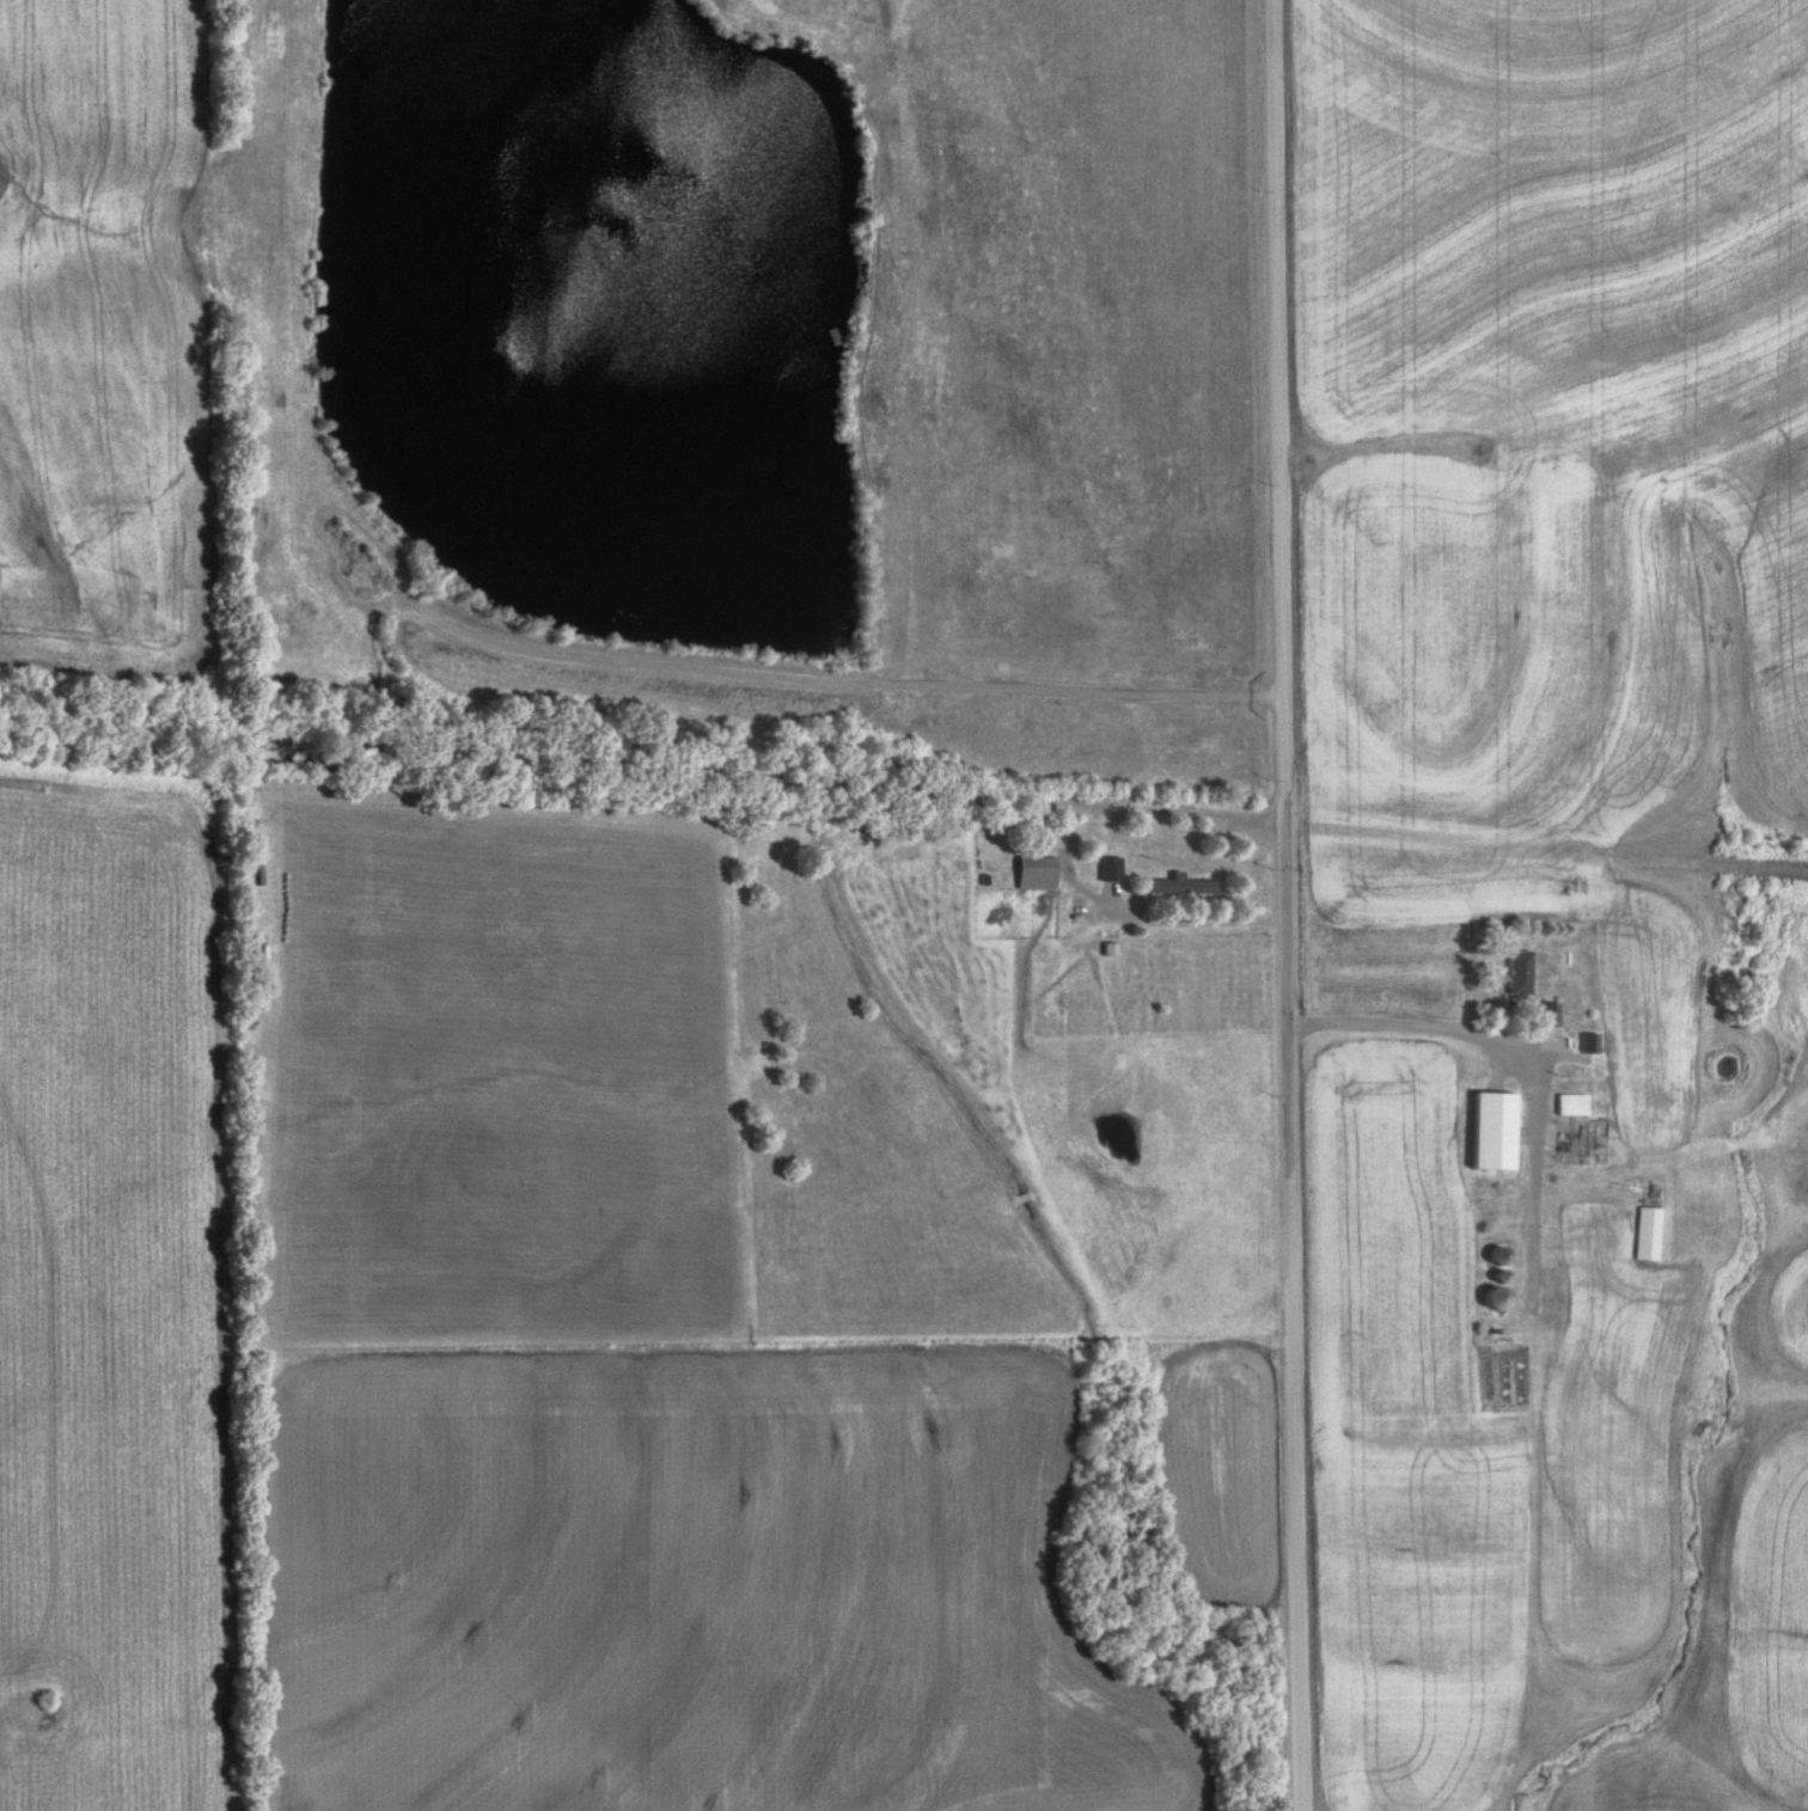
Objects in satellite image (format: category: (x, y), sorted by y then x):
dam: (615, 668)
building: (1111, 868)
building: (1036, 870)
building: (1181, 885)
road: (1288, 905)
building: (1517, 972)
building: (1547, 1012)
building: (1588, 1042)
building: (1569, 1103)
building: (1491, 1131)
building: (1647, 1231)
building: (1497, 1253)
building: (1494, 1296)

